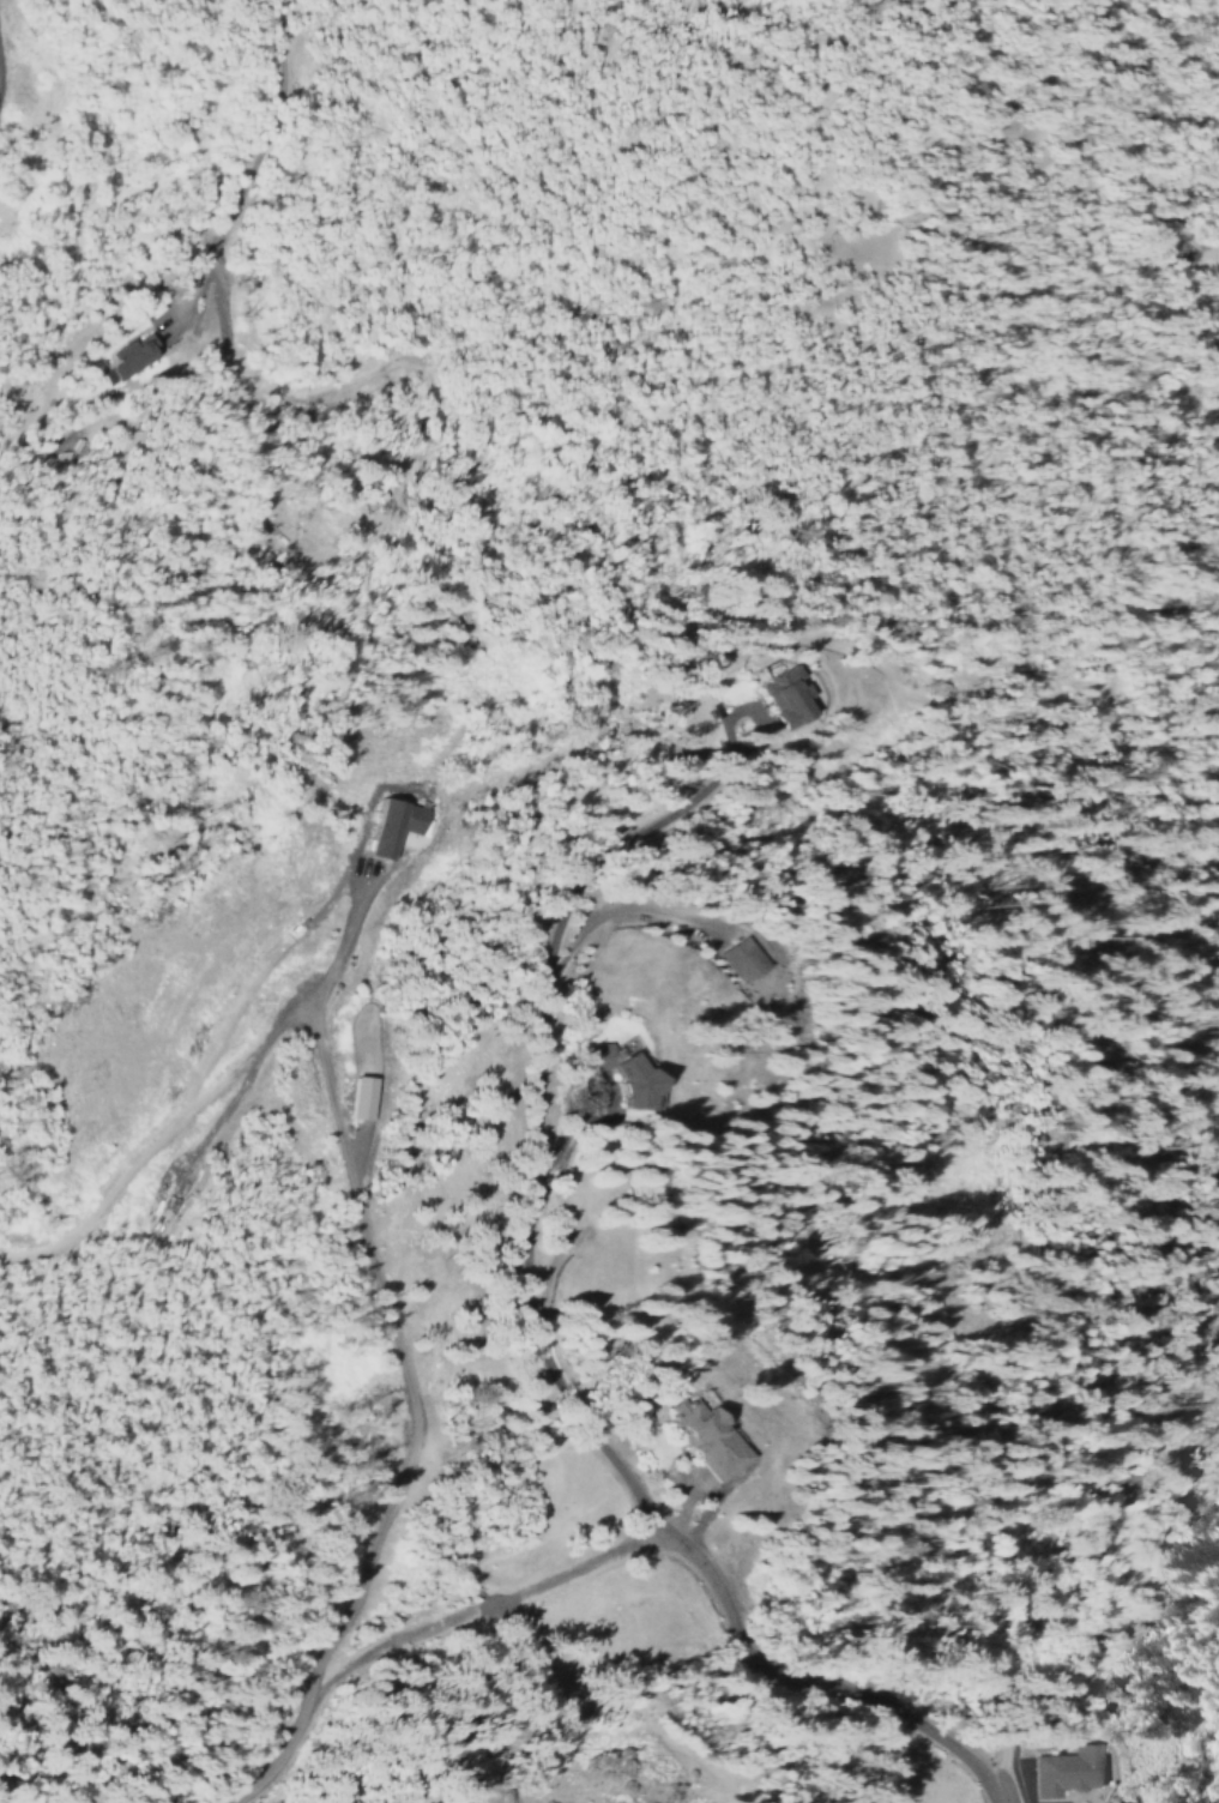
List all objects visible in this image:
road: (239, 164)
building: (125, 360)
building: (784, 697)
building: (394, 826)
building: (741, 960)
road: (562, 969)
building: (597, 1056)
building: (635, 1080)
road: (541, 1117)
road: (164, 1141)
road: (350, 1141)
road: (555, 1158)
building: (706, 1436)
road: (432, 1628)
road: (822, 1686)
building: (1069, 1771)

